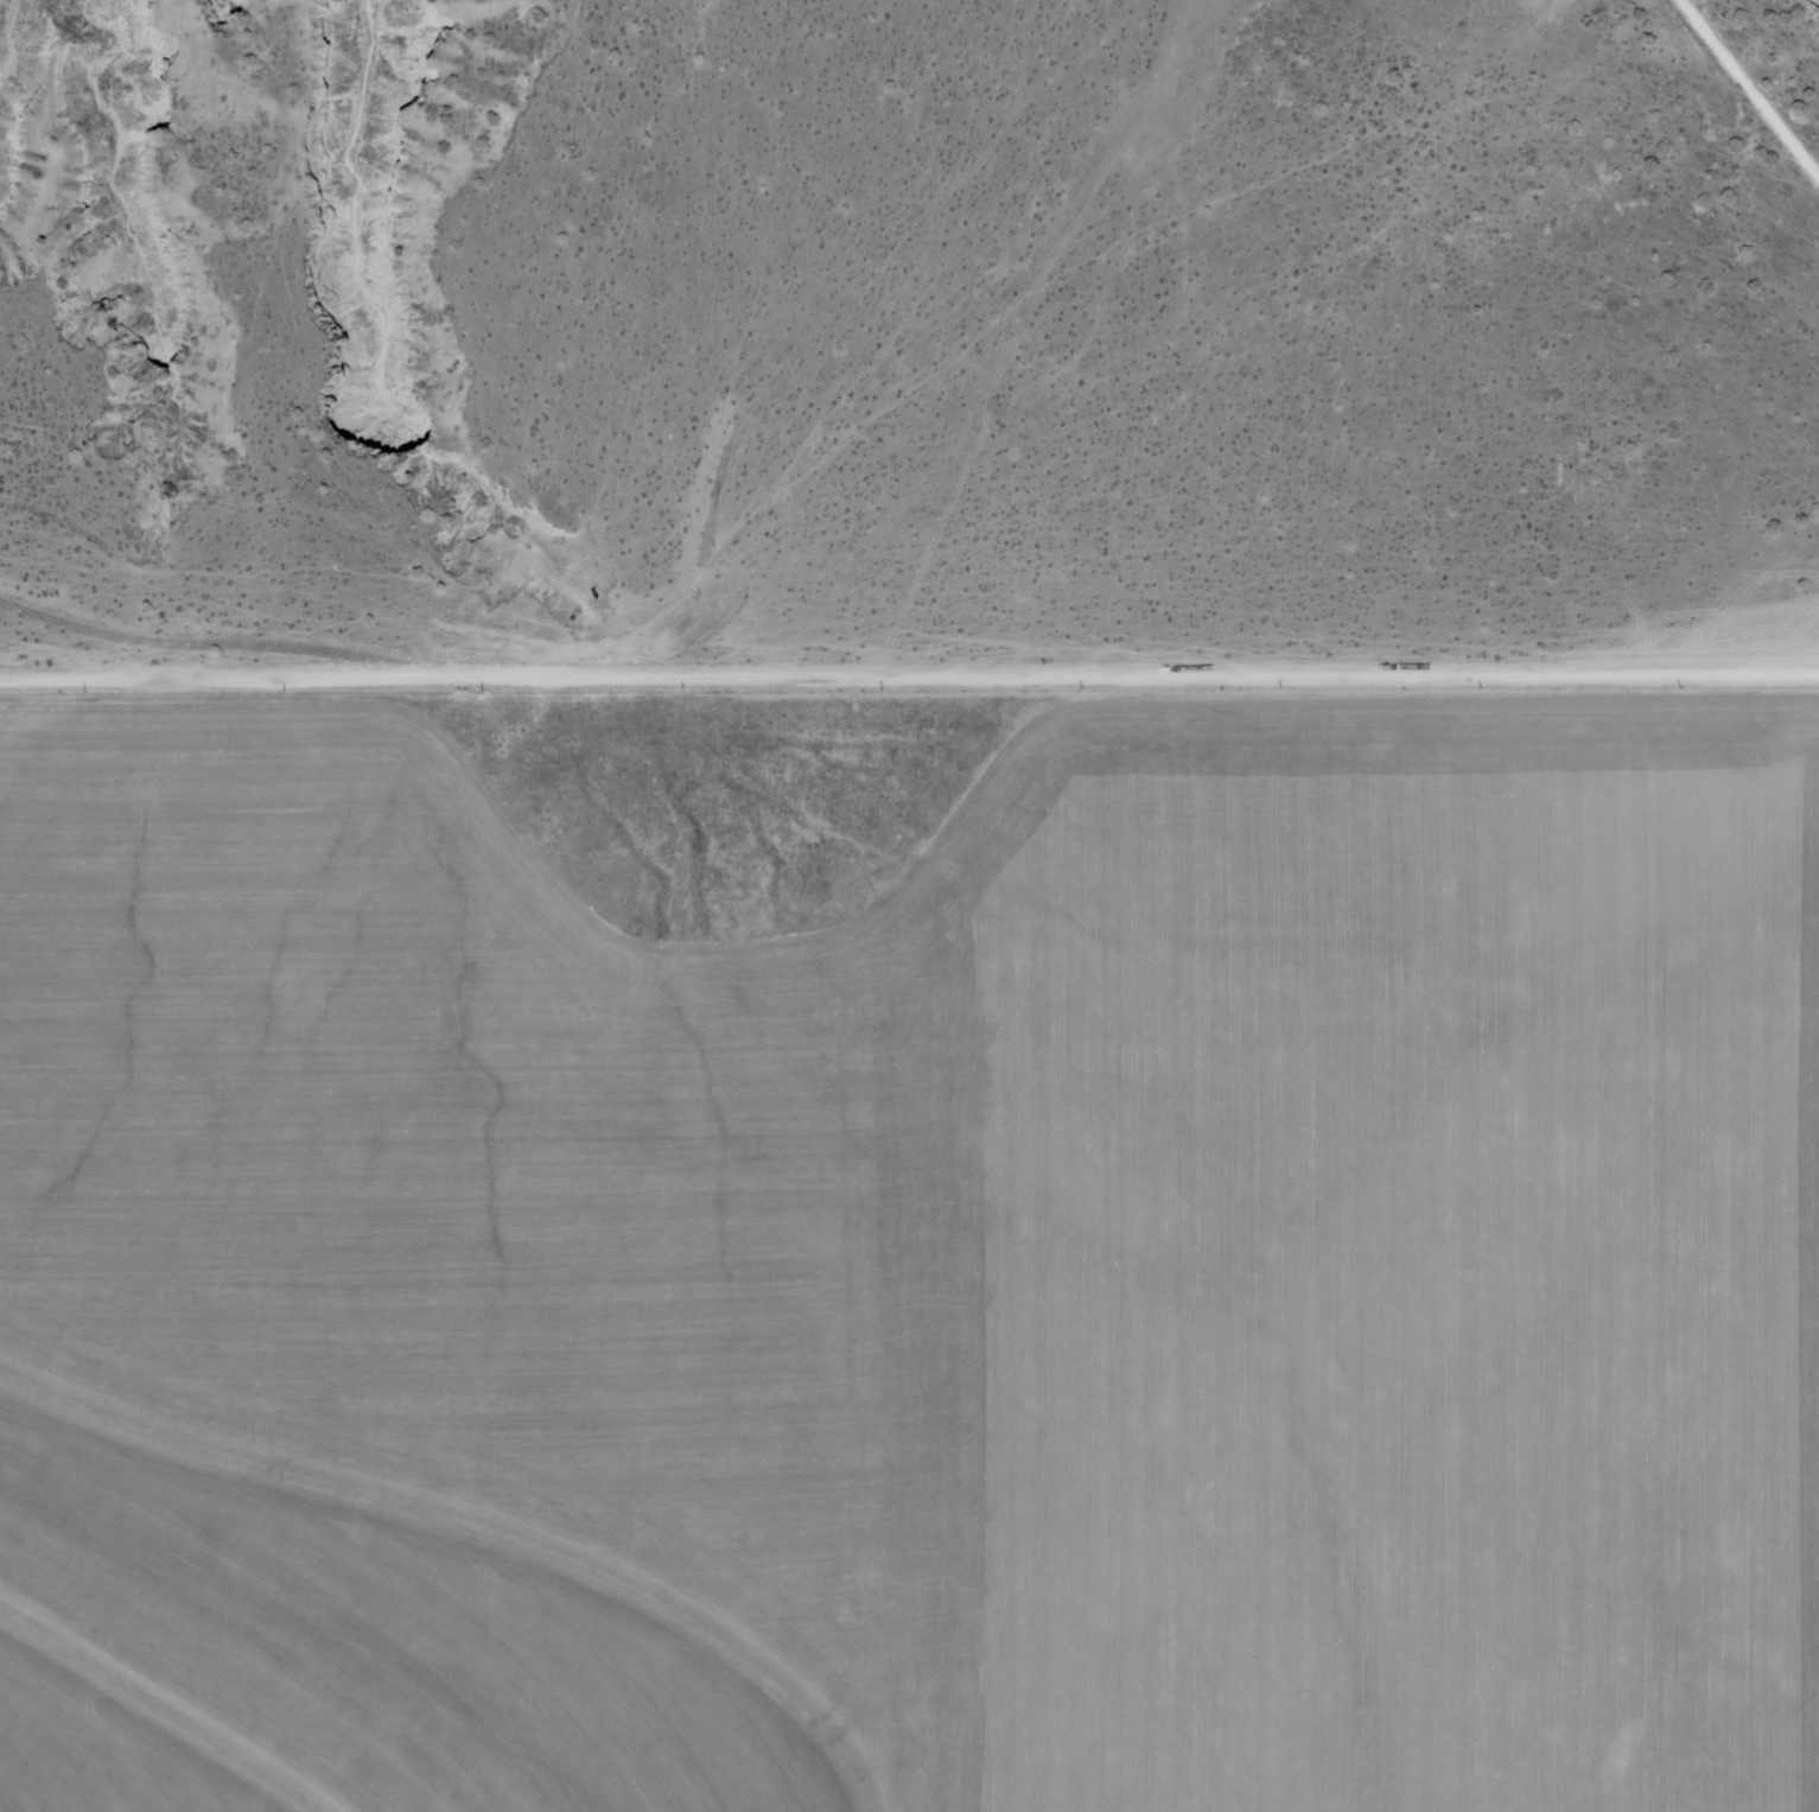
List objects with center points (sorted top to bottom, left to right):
road: (1750, 89)
road: (909, 681)
crop: (910, 1248)

